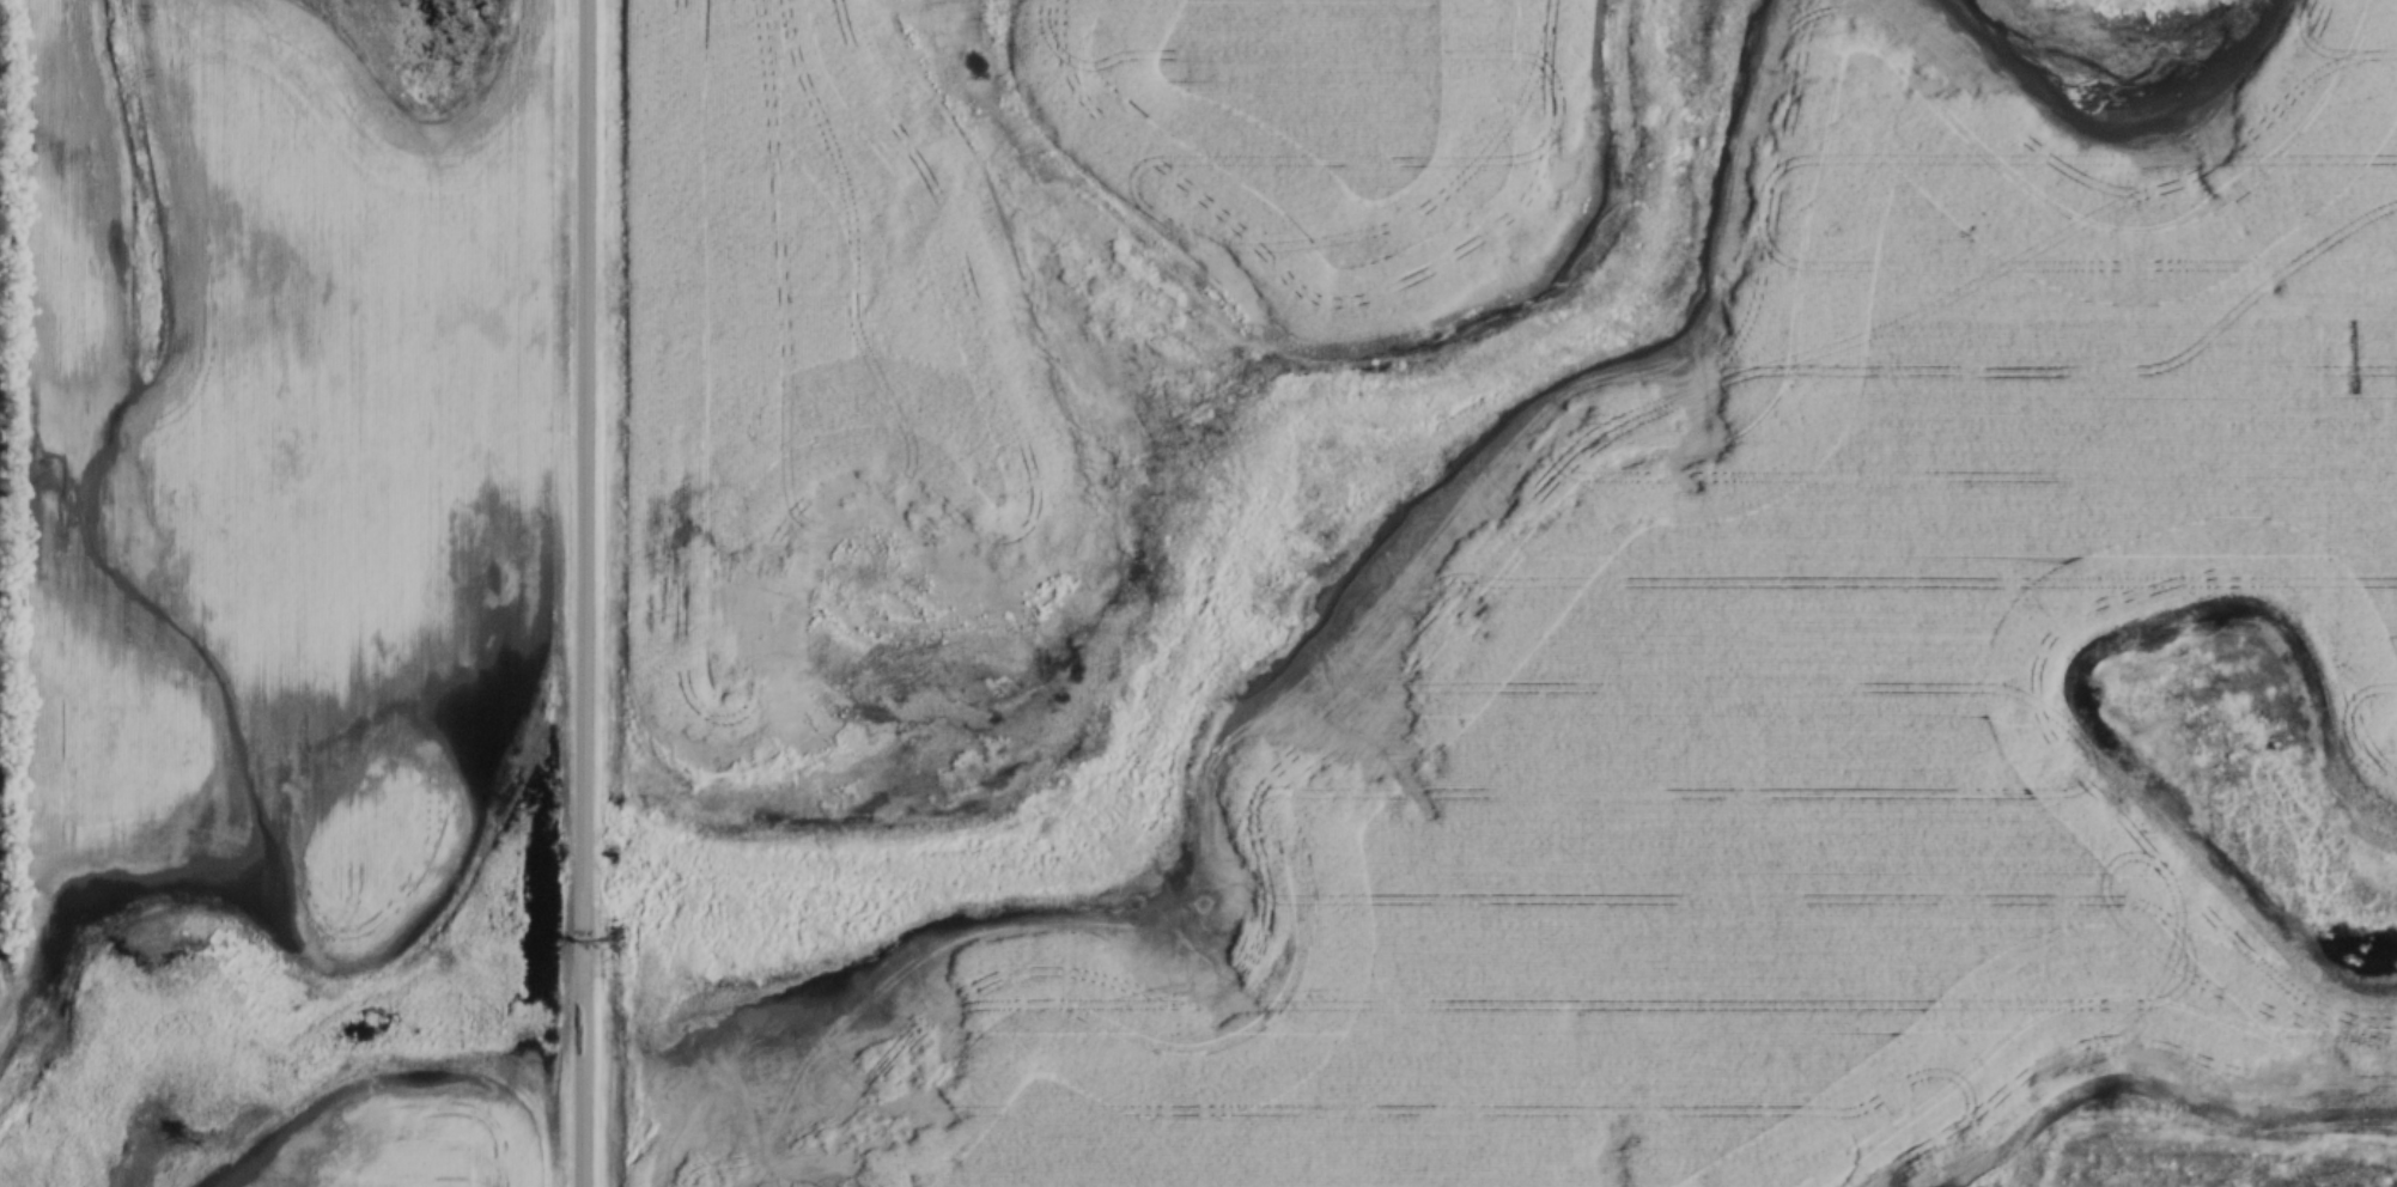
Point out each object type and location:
road: (586, 593)

